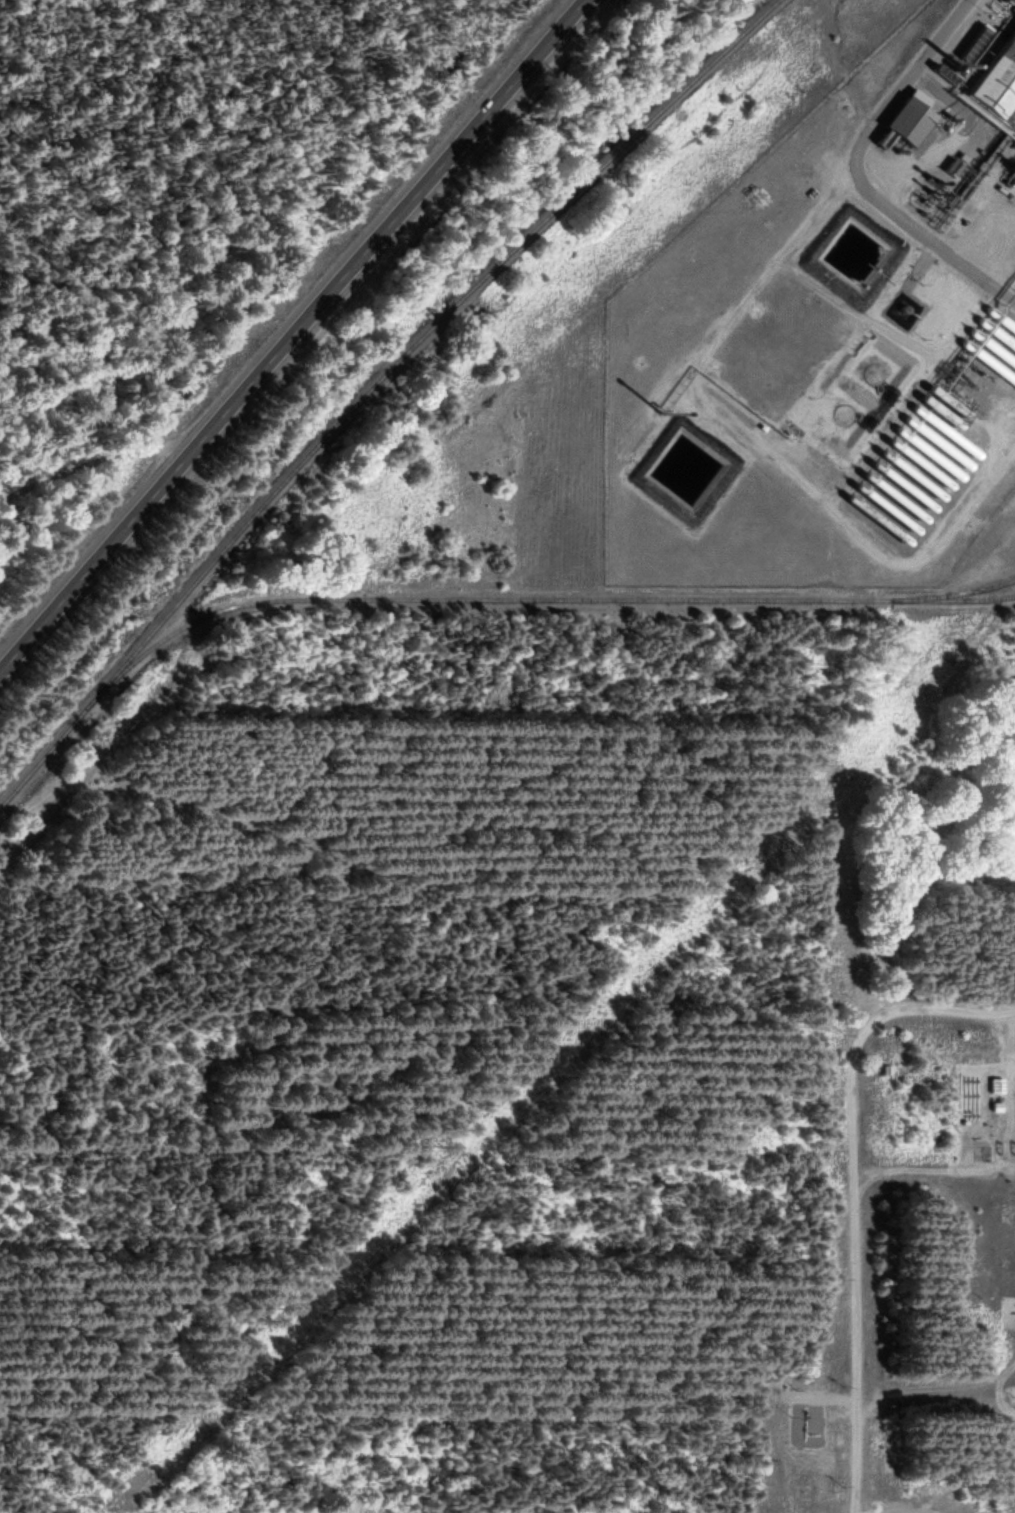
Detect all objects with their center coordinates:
building: (994, 76)
building: (905, 117)
road: (856, 172)
road: (289, 336)
railway: (374, 389)
railway: (965, 594)
railway: (541, 599)
building: (996, 1088)
road: (851, 1194)

